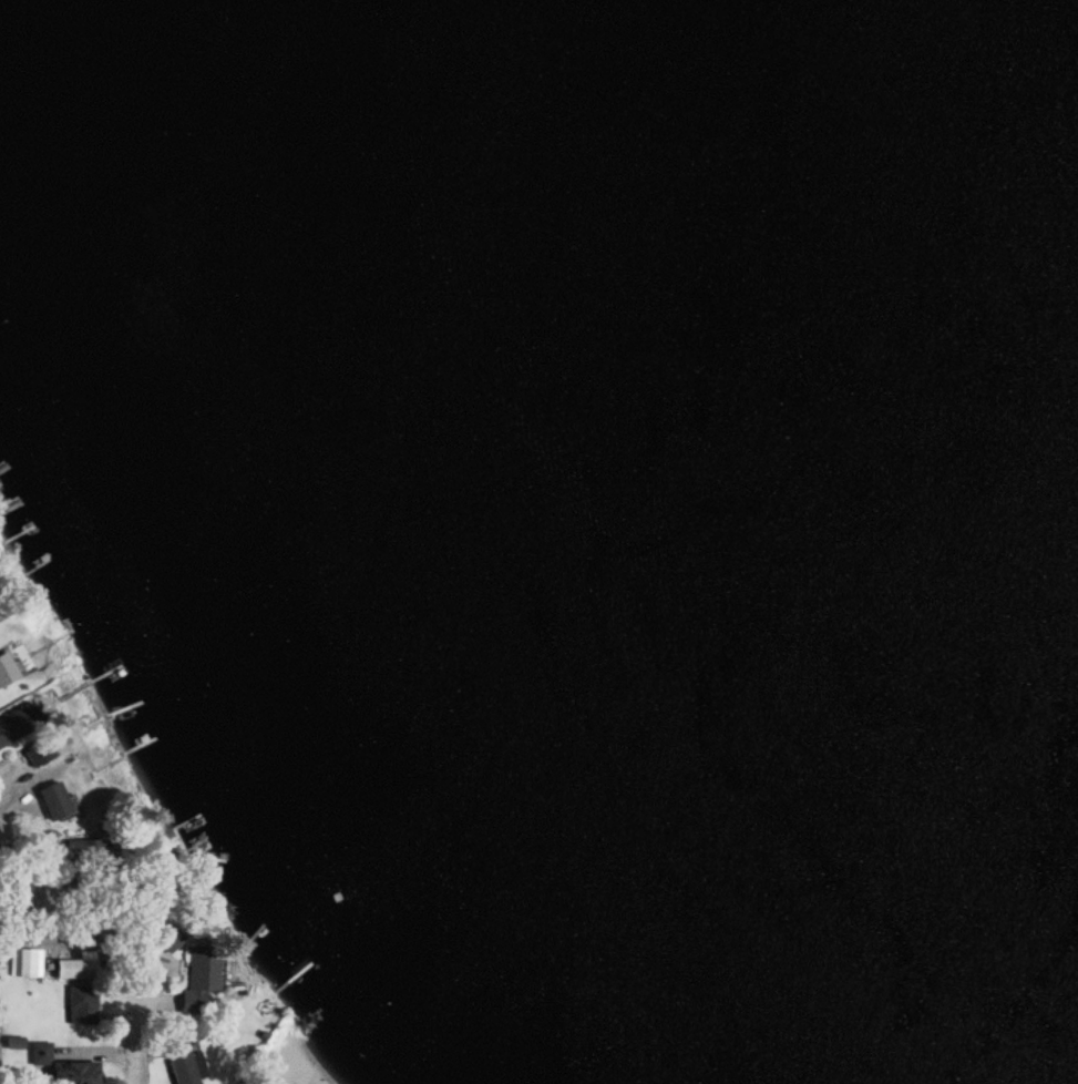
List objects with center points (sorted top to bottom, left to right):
building: (6, 669)
building: (14, 726)
building: (37, 753)
building: (52, 800)
building: (76, 852)
building: (196, 975)
building: (81, 1004)
road: (134, 1031)
park: (308, 1055)
building: (181, 1066)
building: (73, 1073)

